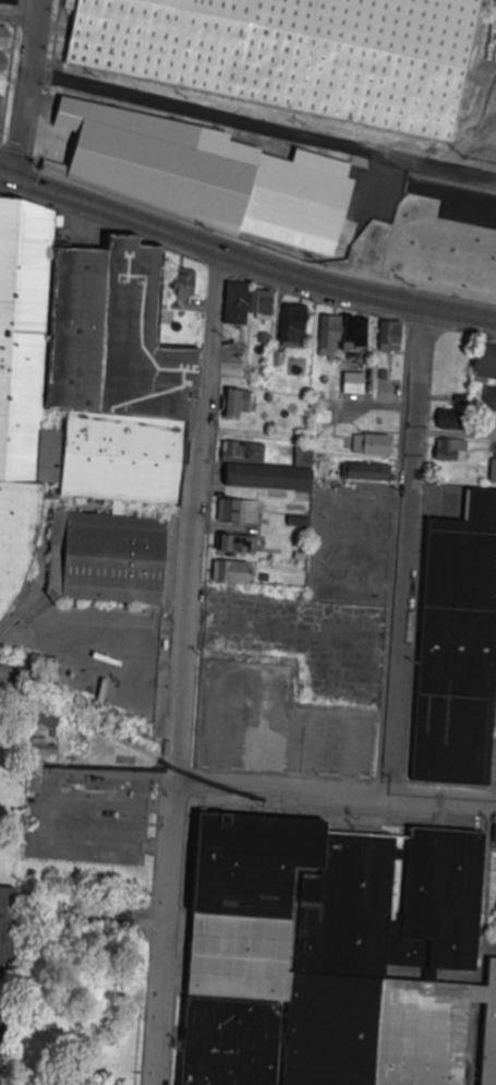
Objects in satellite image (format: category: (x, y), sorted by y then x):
road: (17, 21)
building: (299, 53)
road: (27, 90)
road: (262, 128)
traffic signals: (14, 179)
building: (211, 179)
road: (375, 225)
road: (244, 259)
building: (88, 410)
road: (455, 436)
road: (406, 552)
building: (459, 648)
road: (184, 667)
road: (336, 795)
road: (489, 851)
building: (338, 957)
building: (8, 971)

